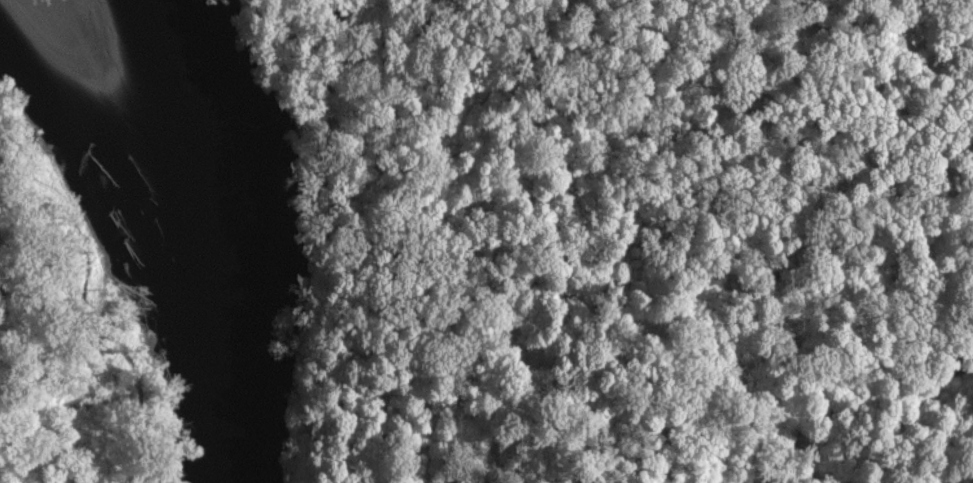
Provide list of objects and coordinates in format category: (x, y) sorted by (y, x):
river: (248, 229)

